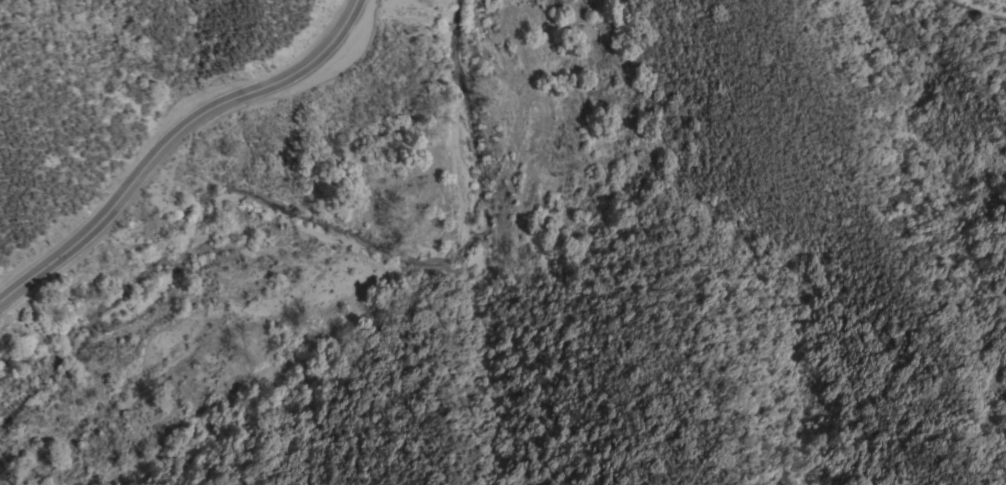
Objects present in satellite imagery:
road: (176, 142)

